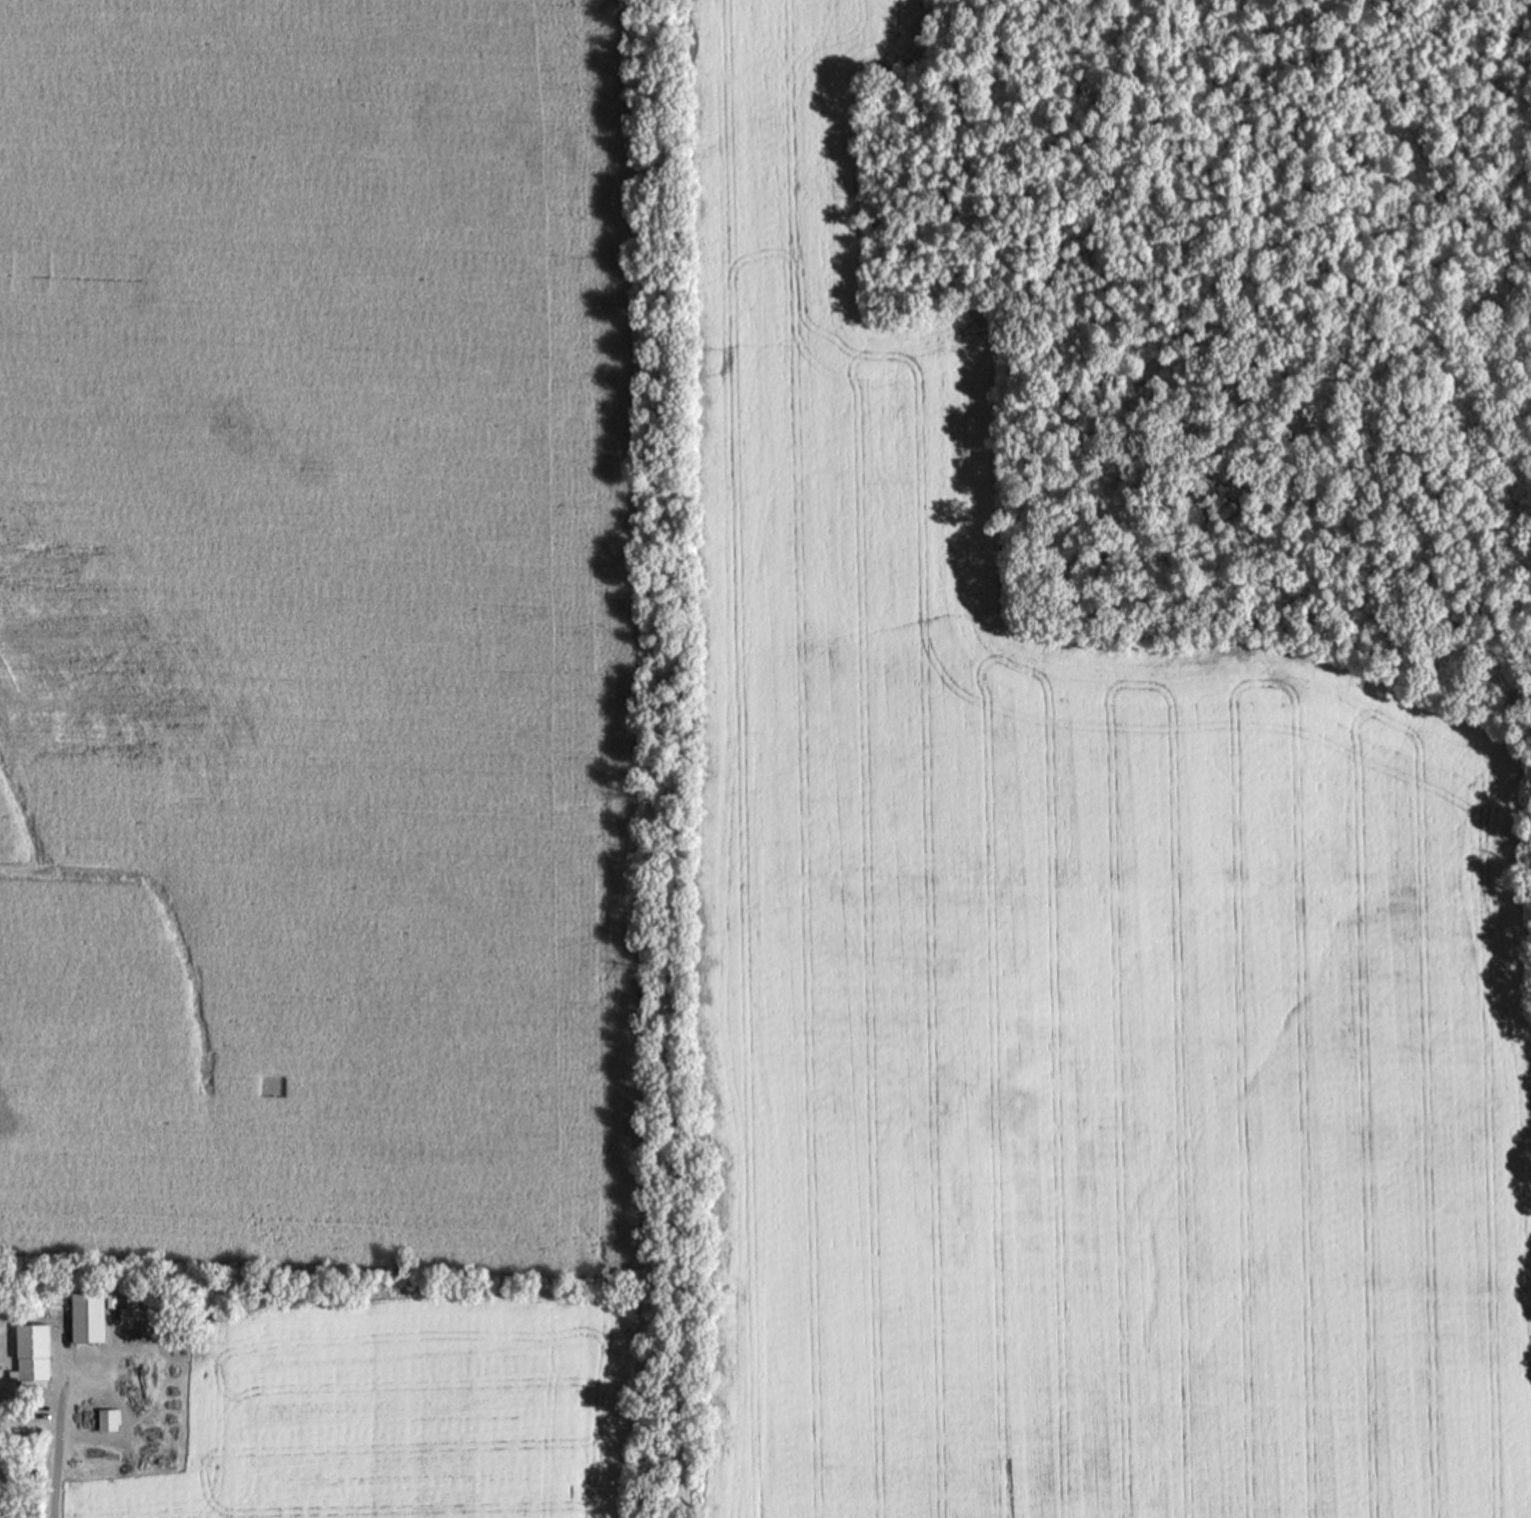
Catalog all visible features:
building: (127, 1311)
building: (85, 1318)
building: (30, 1356)
building: (106, 1419)
road: (58, 1449)

